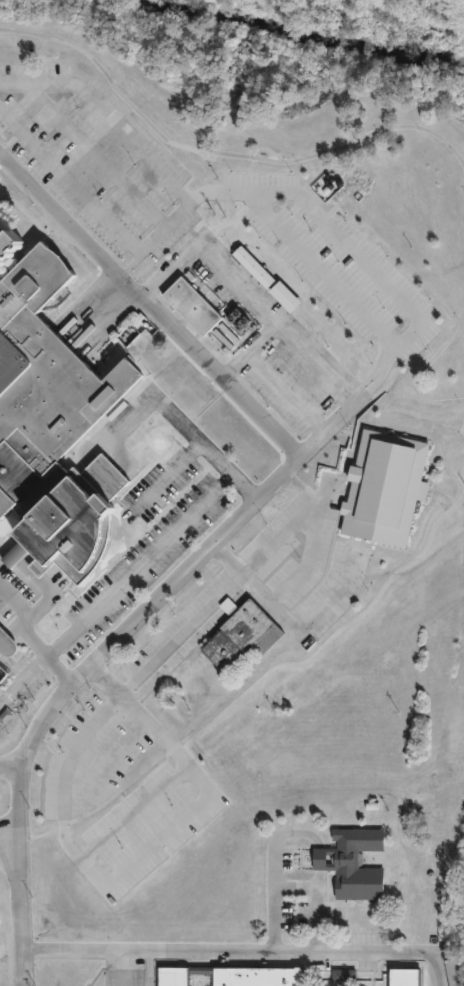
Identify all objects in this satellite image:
road: (107, 113)
road: (12, 141)
road: (97, 152)
road: (228, 156)
road: (69, 177)
building: (322, 186)
road: (359, 258)
road: (319, 261)
building: (251, 267)
road: (240, 286)
building: (194, 308)
road: (316, 364)
road: (420, 370)
road: (288, 392)
building: (51, 419)
road: (183, 429)
helipad: (158, 443)
road: (301, 462)
road: (170, 476)
building: (382, 488)
road: (323, 524)
road: (40, 581)
road: (114, 587)
road: (8, 609)
road: (289, 615)
road: (195, 619)
road: (11, 624)
road: (3, 632)
building: (239, 637)
building: (8, 642)
road: (43, 653)
road: (269, 666)
building: (185, 674)
building: (3, 675)
building: (206, 687)
road: (119, 752)
road: (87, 802)
road: (17, 807)
road: (136, 809)
road: (144, 855)
building: (347, 863)
road: (292, 887)
road: (18, 898)
road: (6, 913)
building: (1, 920)
road: (224, 952)
building: (343, 974)
building: (227, 976)
building: (402, 977)

